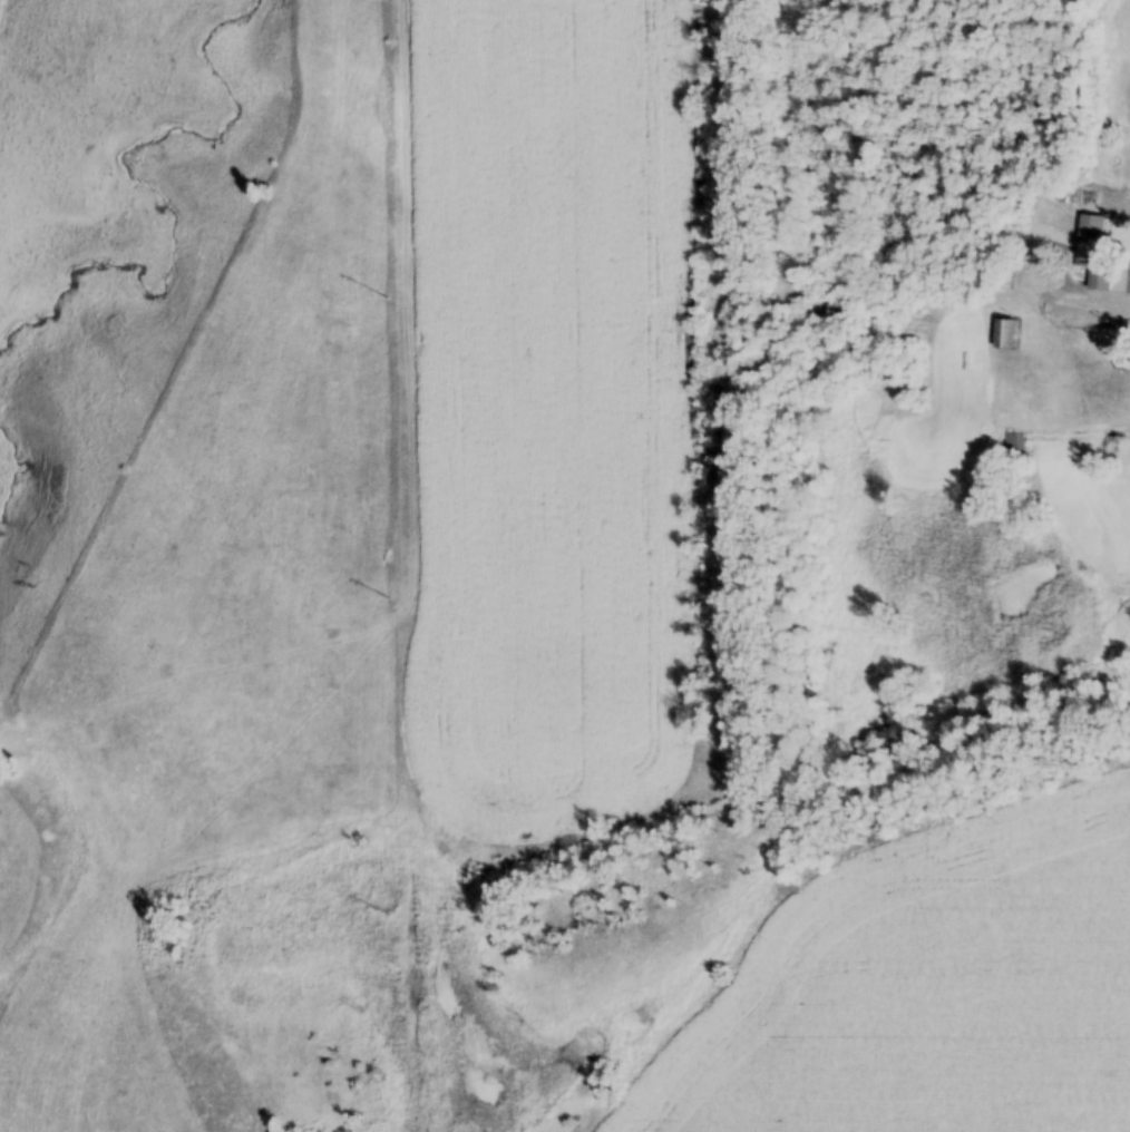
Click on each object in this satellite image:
building: (1091, 237)
building: (824, 323)
building: (1005, 335)

